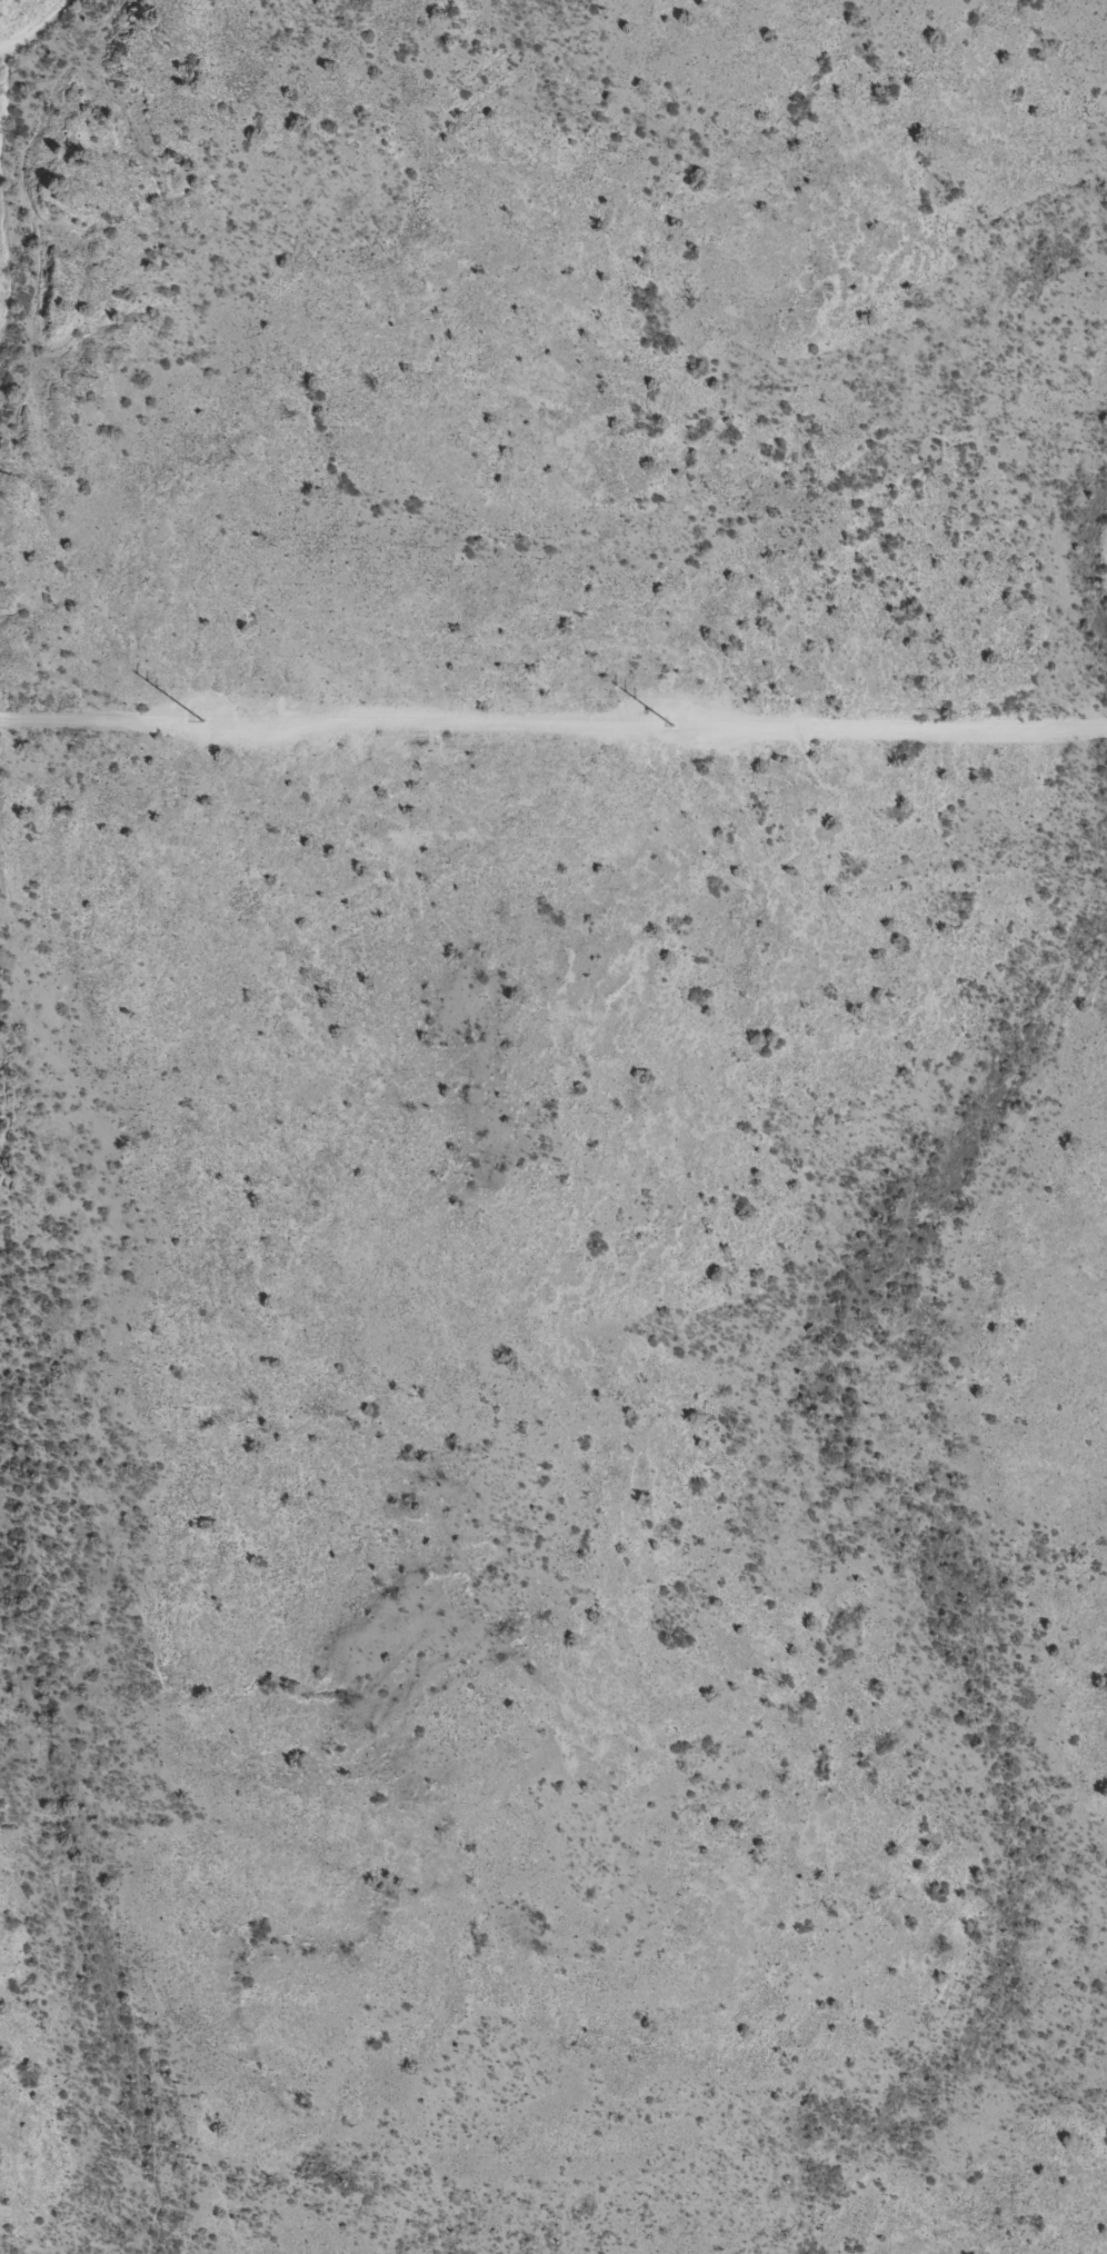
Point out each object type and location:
power tower: (282, 725)
power tower: (715, 729)

